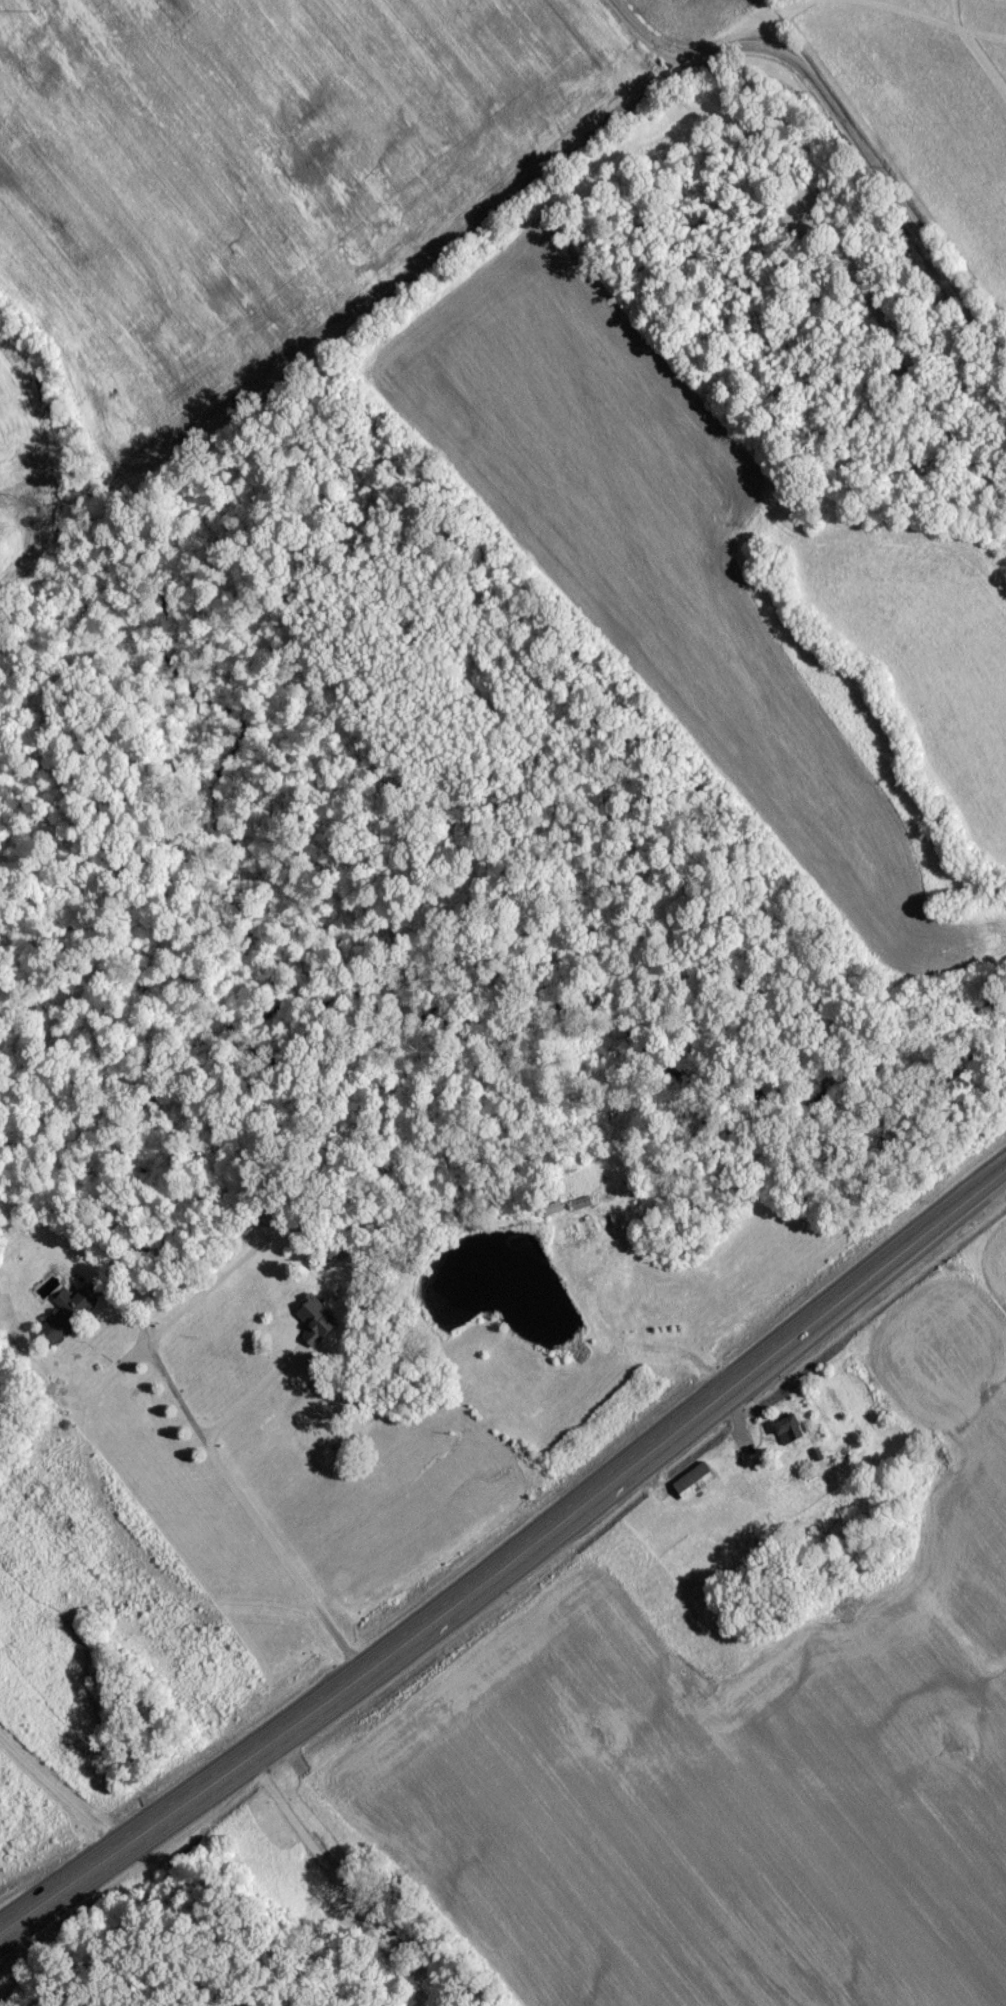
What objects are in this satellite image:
road: (838, 122)
road: (253, 1392)
building: (787, 1446)
building: (699, 1487)
road: (243, 1504)
road: (509, 1561)
road: (56, 1798)

